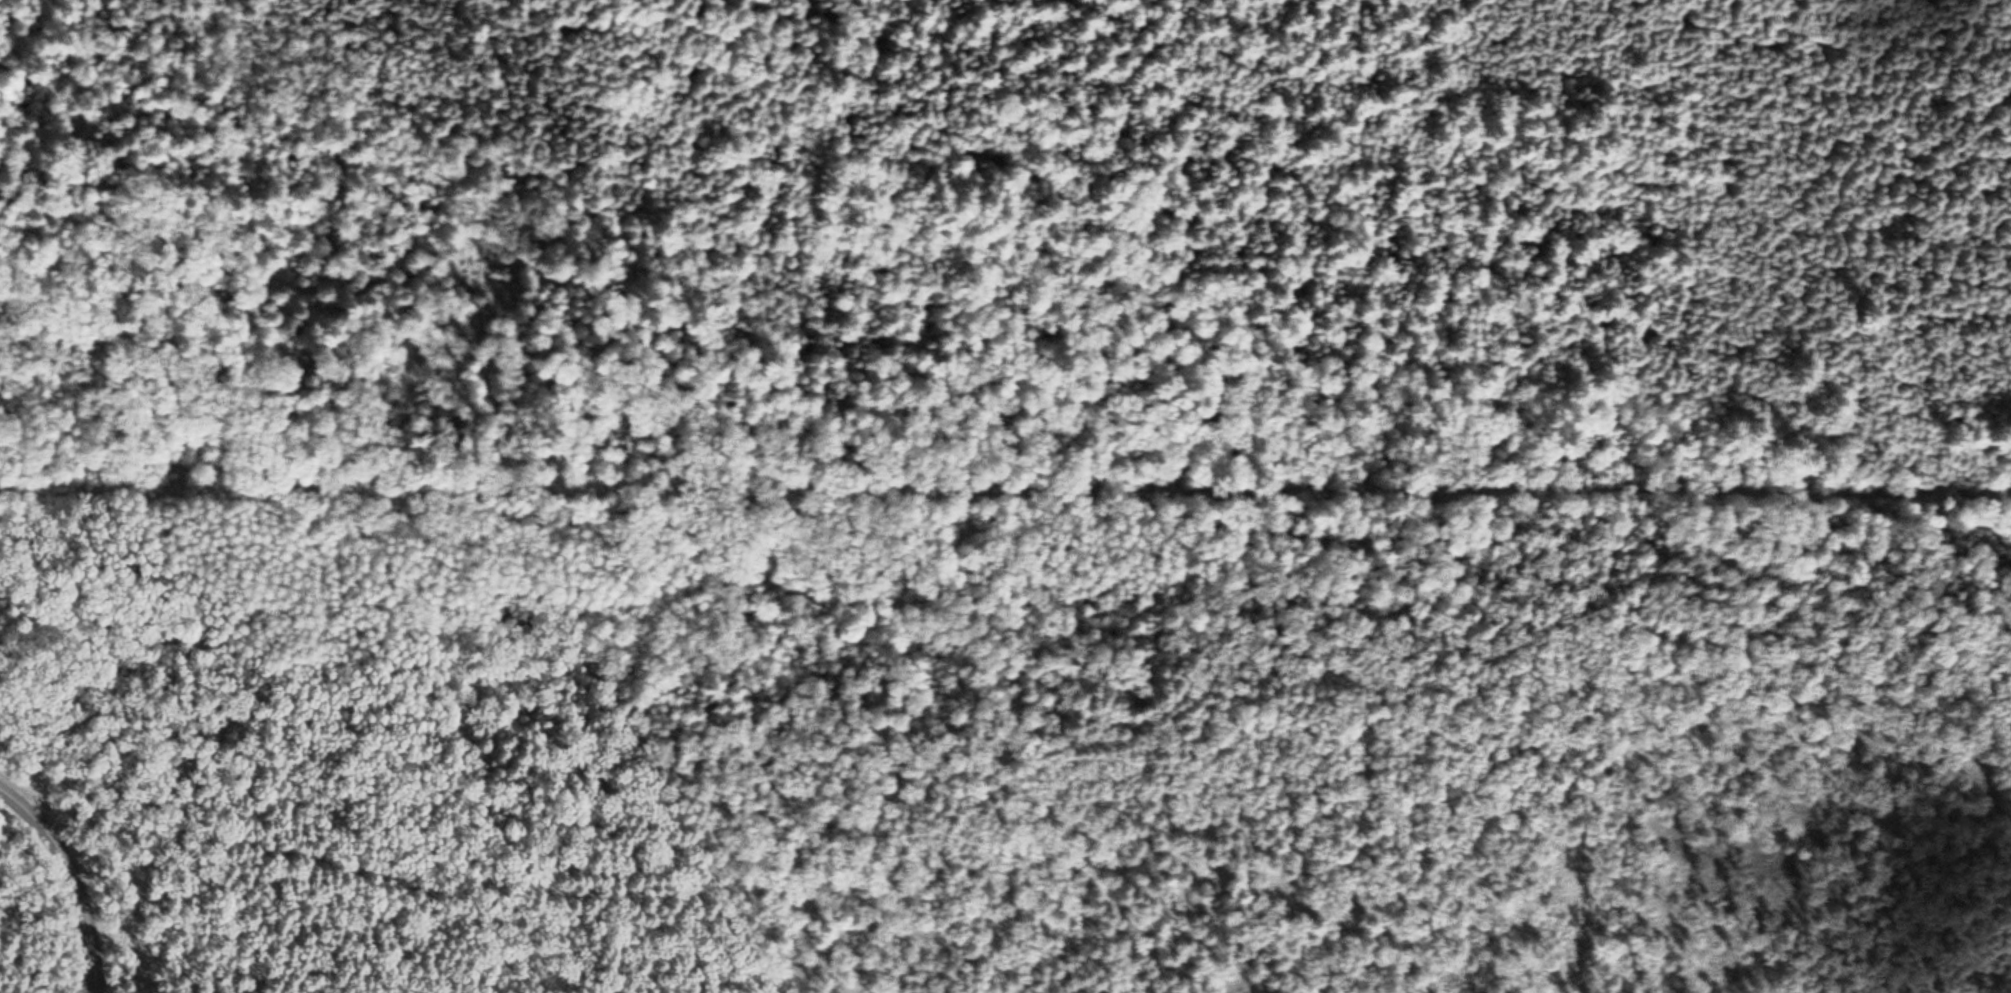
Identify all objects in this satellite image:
road: (655, 416)
road: (18, 803)
road: (1188, 820)
road: (18, 830)
road: (260, 857)
road: (82, 900)

